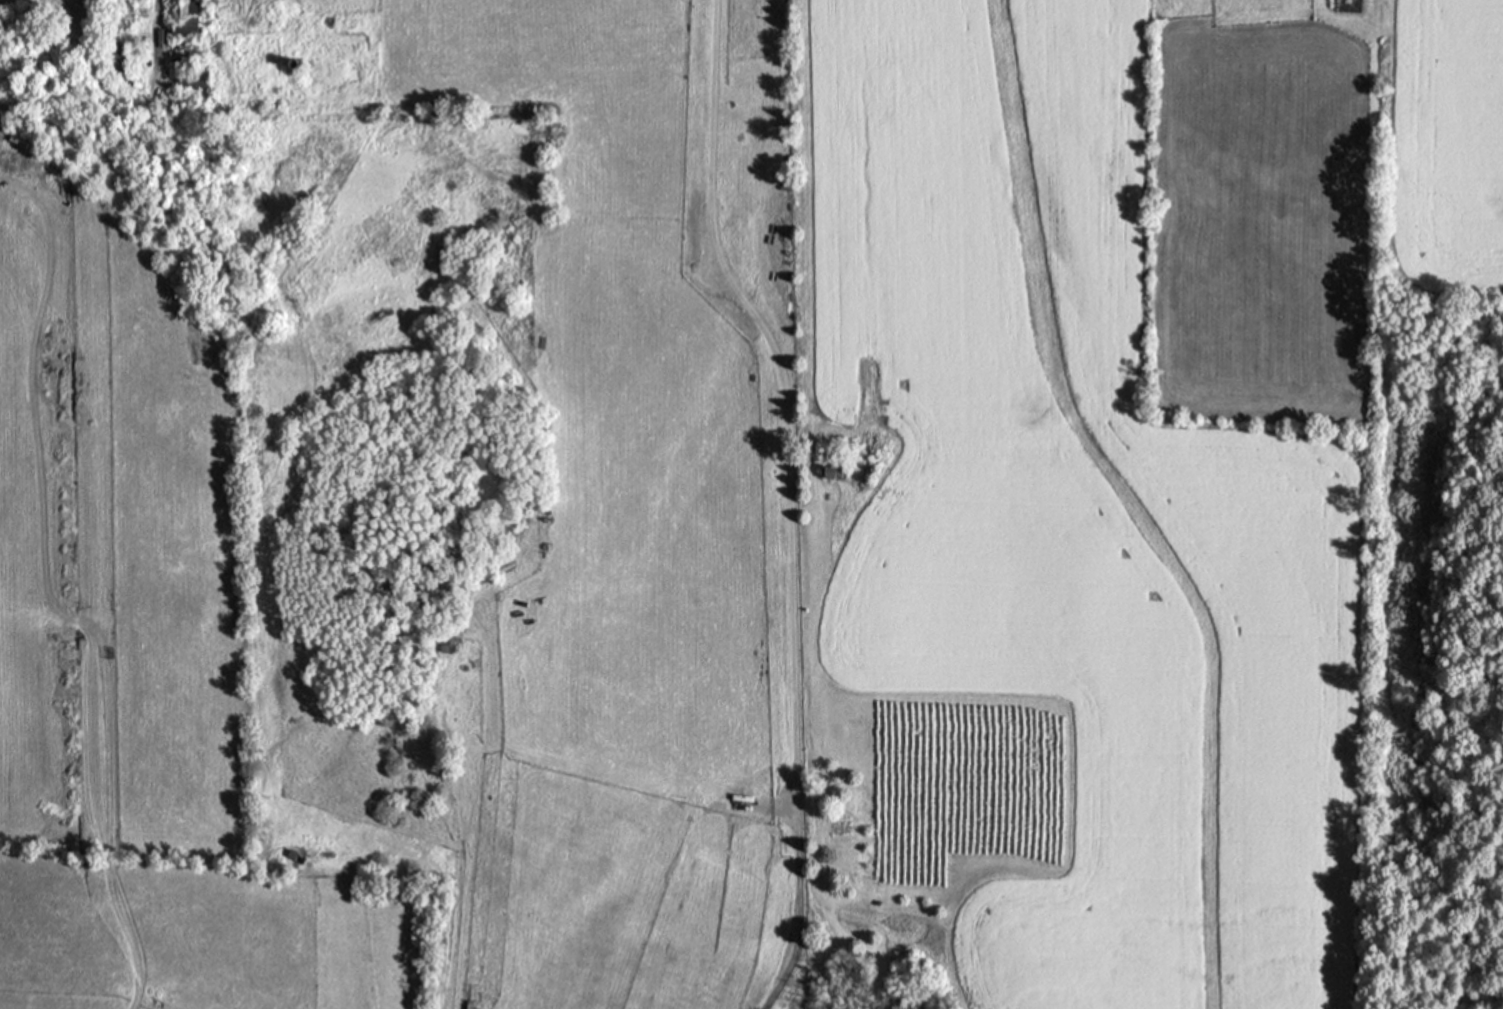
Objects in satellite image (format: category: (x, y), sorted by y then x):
building: (1347, 5)
building: (183, 17)
building: (114, 59)
building: (194, 79)
building: (833, 470)
road: (790, 498)
building: (294, 855)

